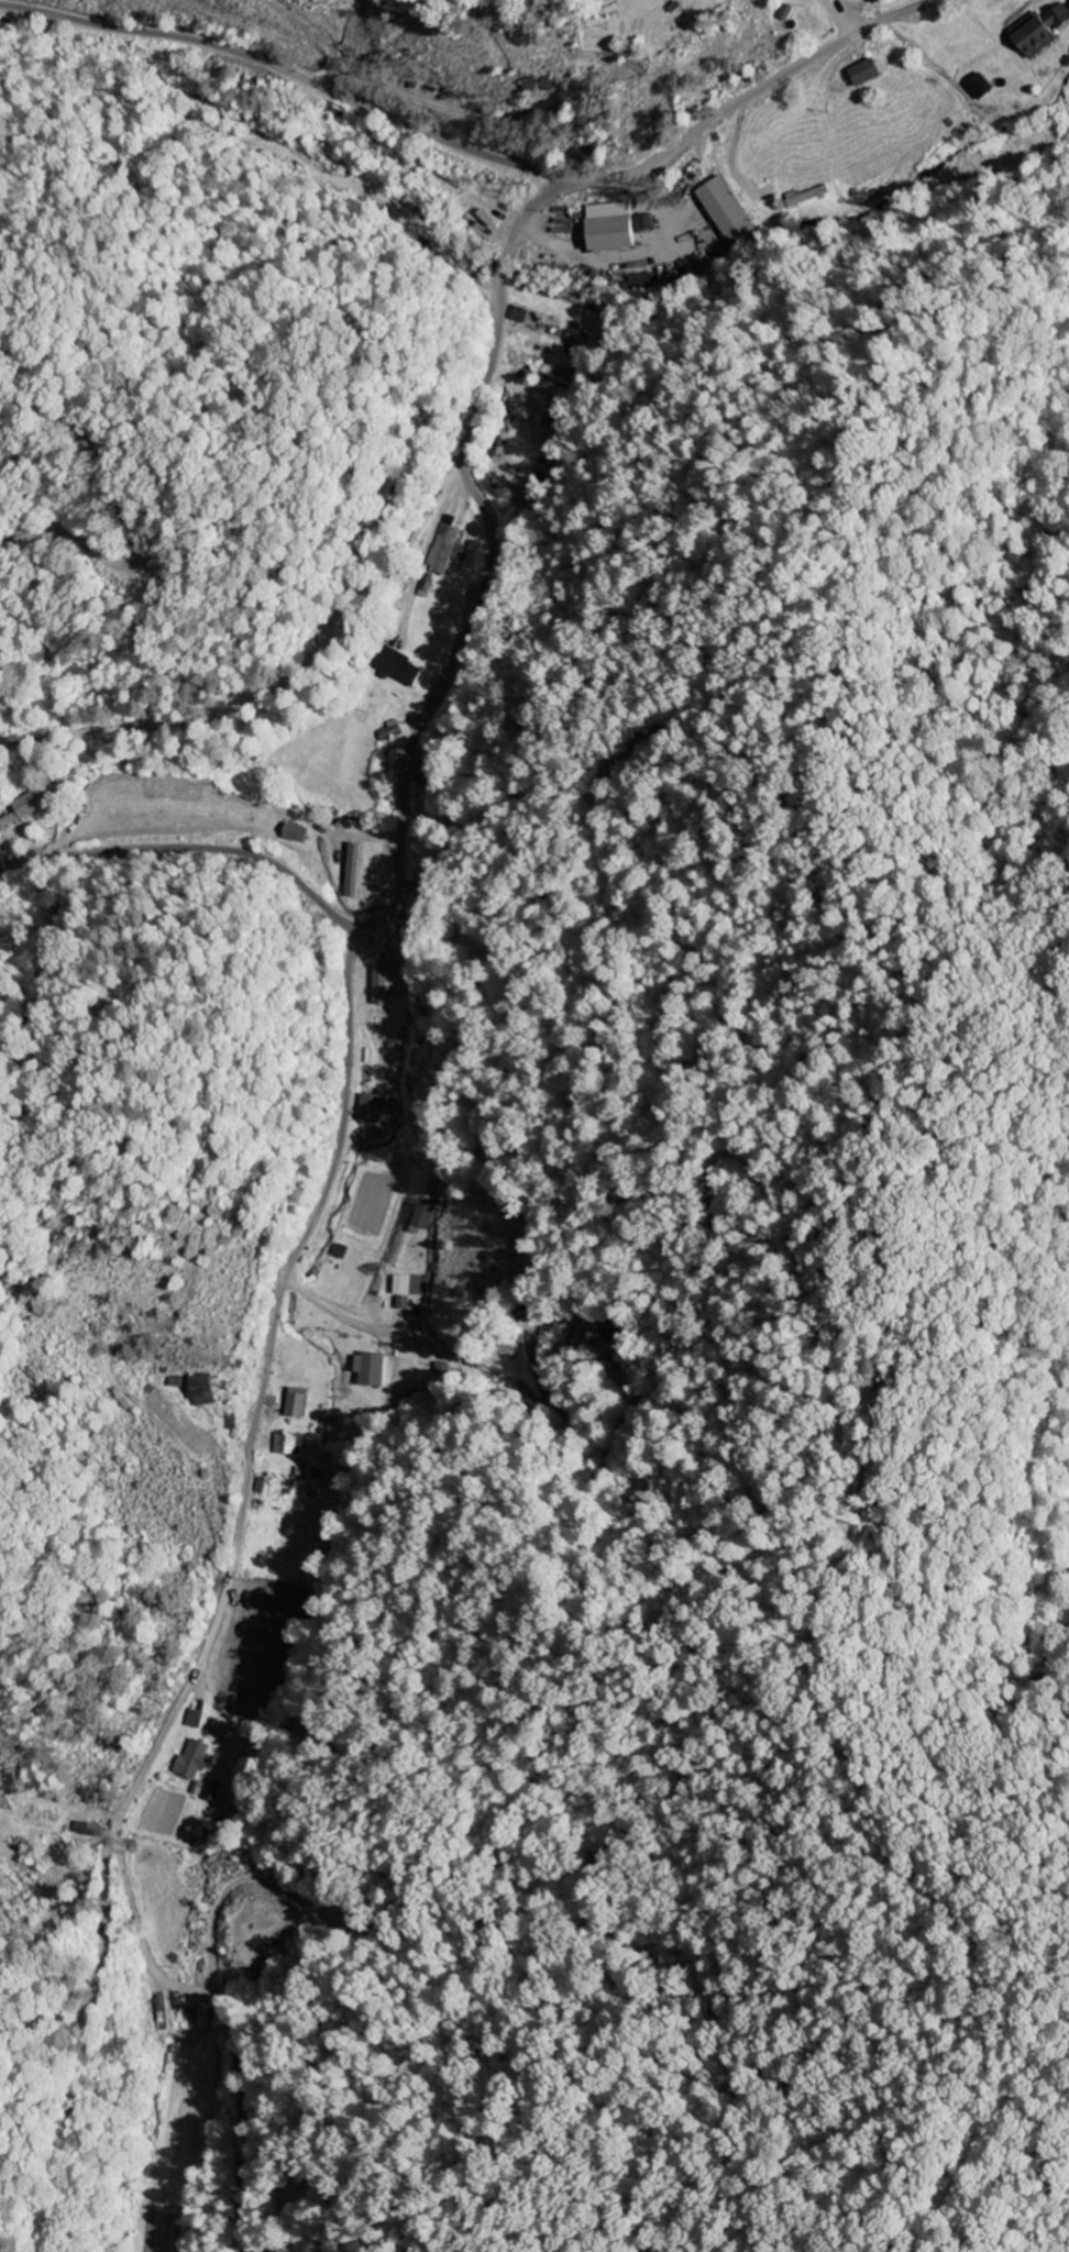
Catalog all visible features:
park: (641, 24)
building: (1044, 31)
road: (291, 70)
building: (872, 71)
building: (982, 87)
building: (807, 196)
building: (730, 211)
building: (622, 227)
building: (520, 313)
road: (783, 322)
road: (481, 360)
road: (588, 466)
building: (450, 541)
building: (404, 670)
building: (393, 730)
building: (29, 805)
building: (10, 819)
building: (295, 832)
road: (190, 848)
building: (354, 870)
building: (375, 1108)
building: (420, 1217)
building: (410, 1285)
building: (372, 1369)
building: (209, 1390)
building: (299, 1403)
building: (289, 1444)
road: (223, 1597)
building: (197, 1759)
building: (216, 1791)
building: (90, 1829)
road: (223, 2069)

